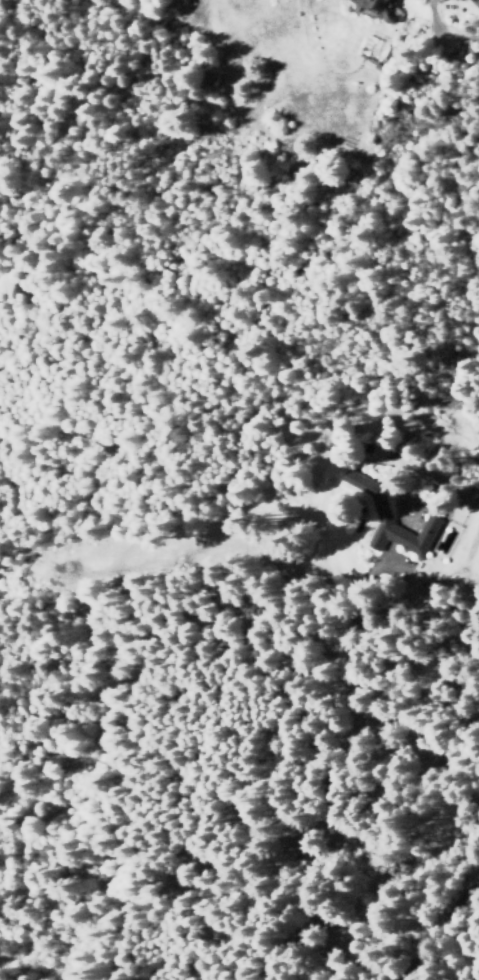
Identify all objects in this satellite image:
building: (374, 6)
building: (384, 517)
road: (439, 932)

